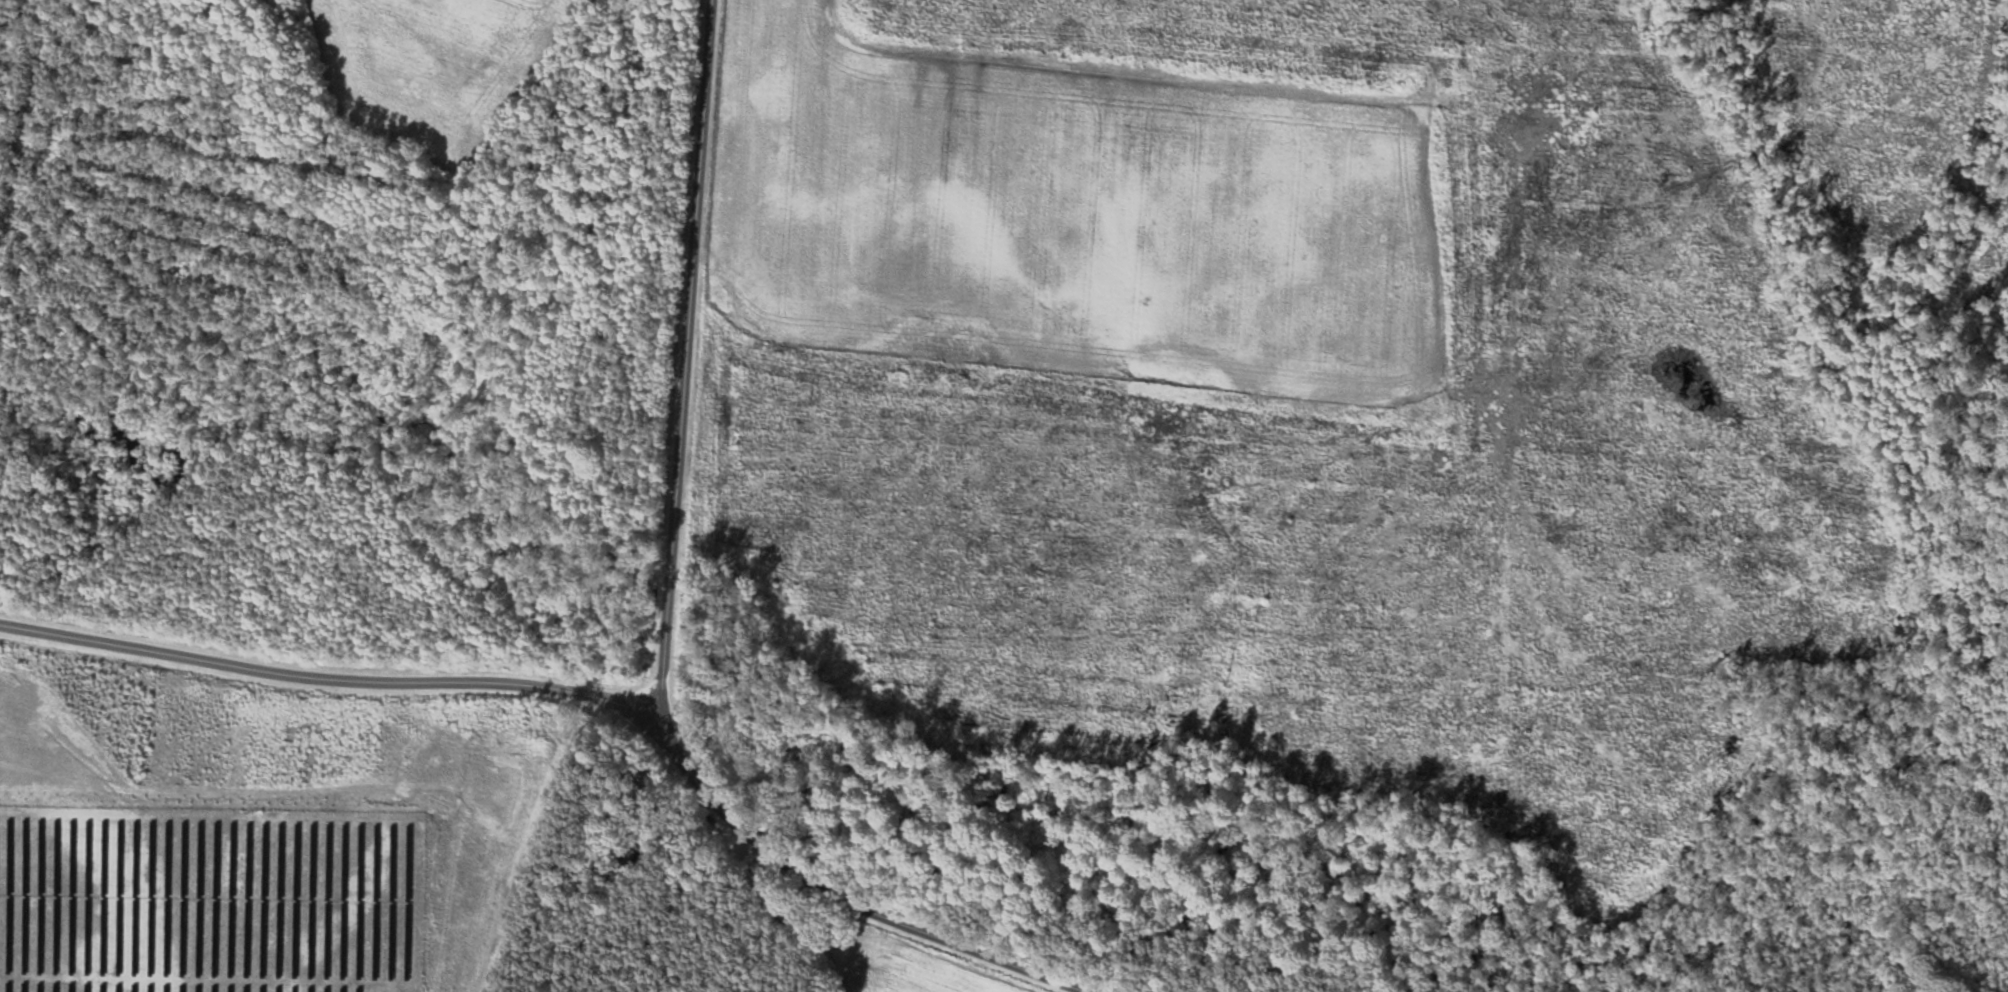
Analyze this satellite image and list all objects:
road: (688, 352)
road: (328, 677)
road: (836, 896)

